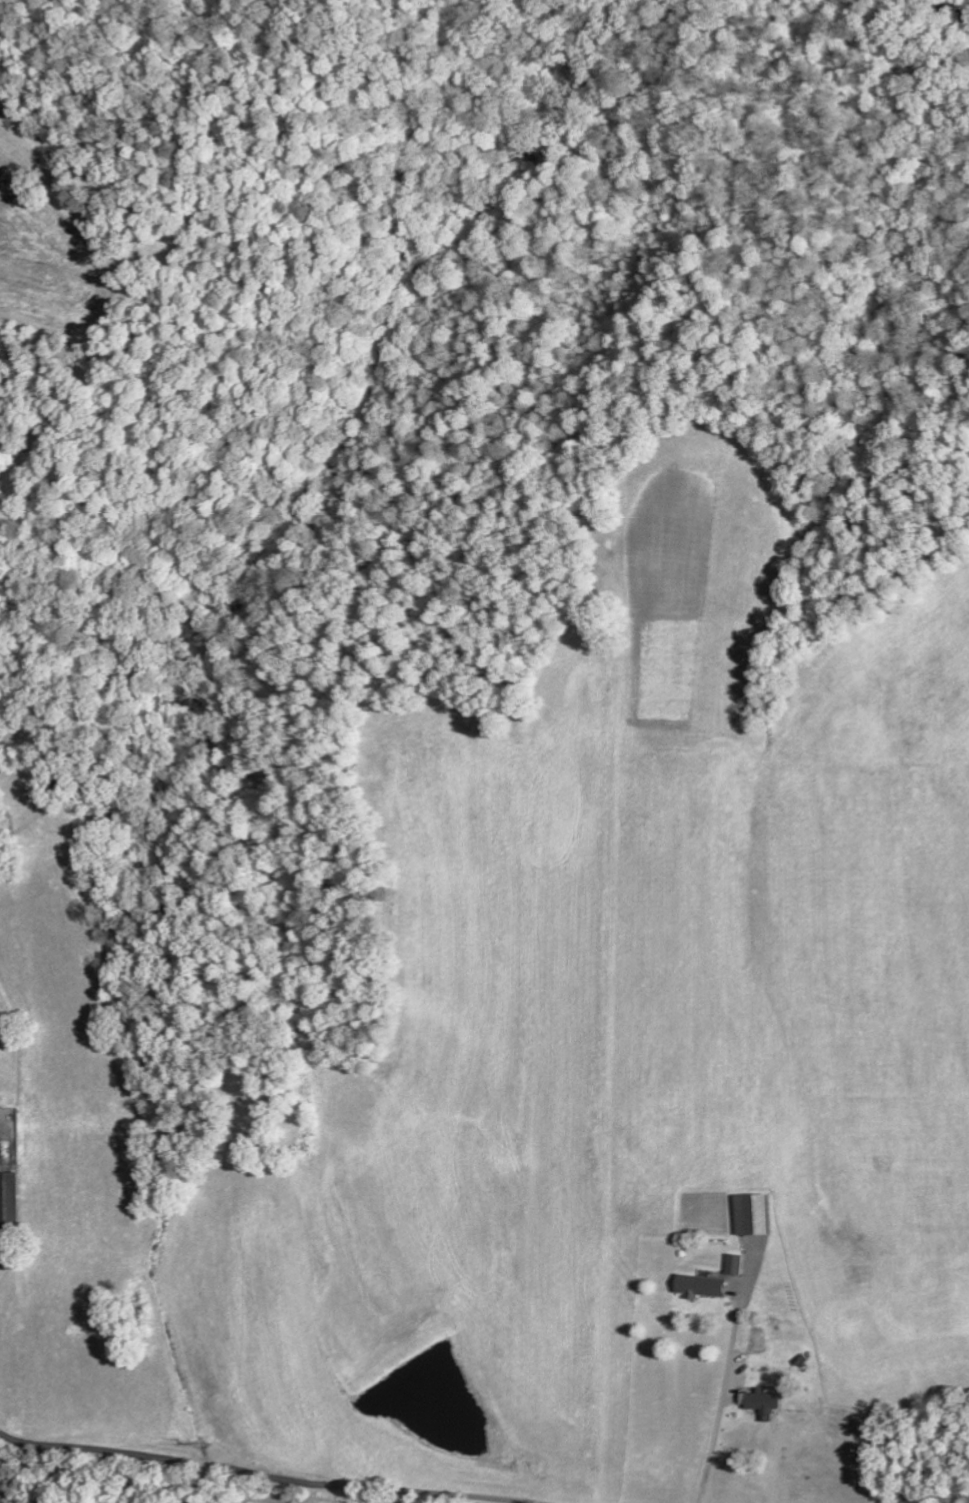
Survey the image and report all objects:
building: (10, 1195)
building: (756, 1215)
building: (734, 1264)
building: (701, 1287)
building: (754, 1341)
building: (763, 1402)

